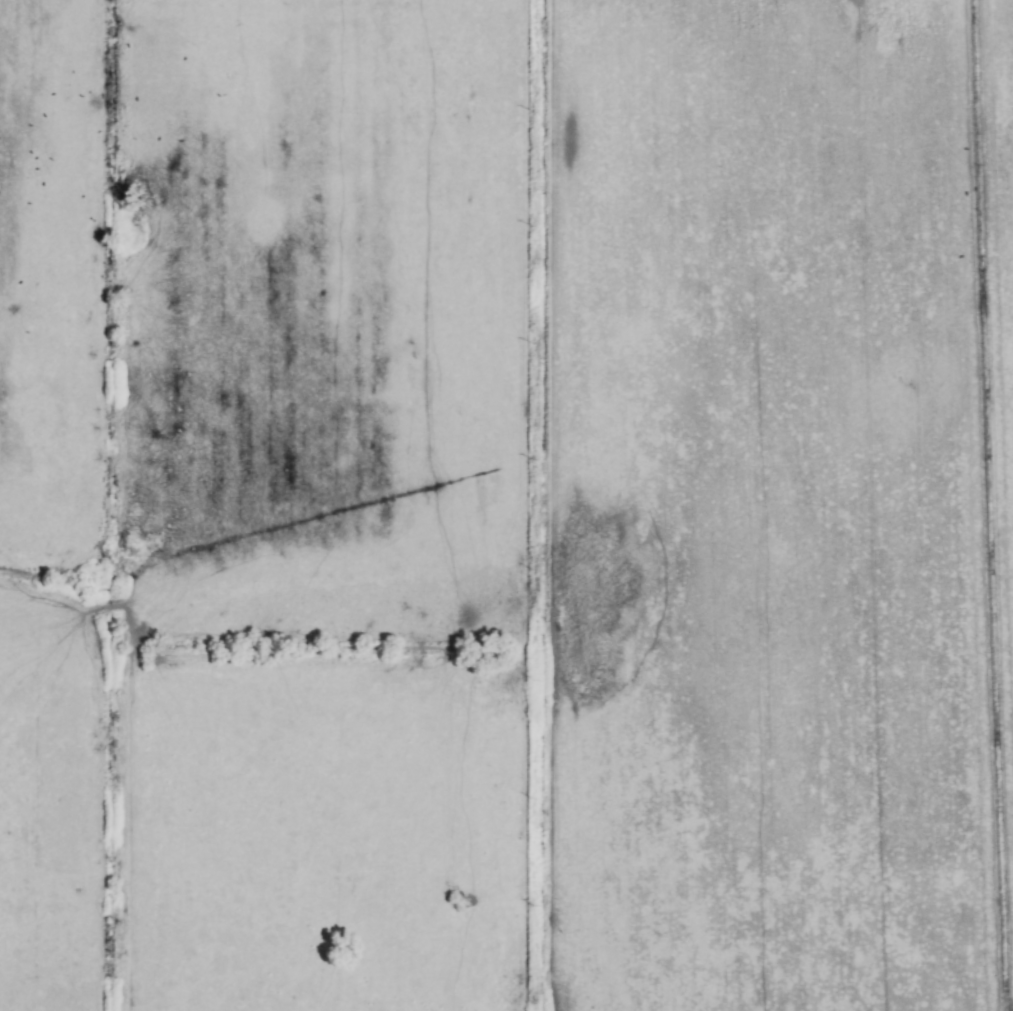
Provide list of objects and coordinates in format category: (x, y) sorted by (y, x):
crop: (506, 505)

